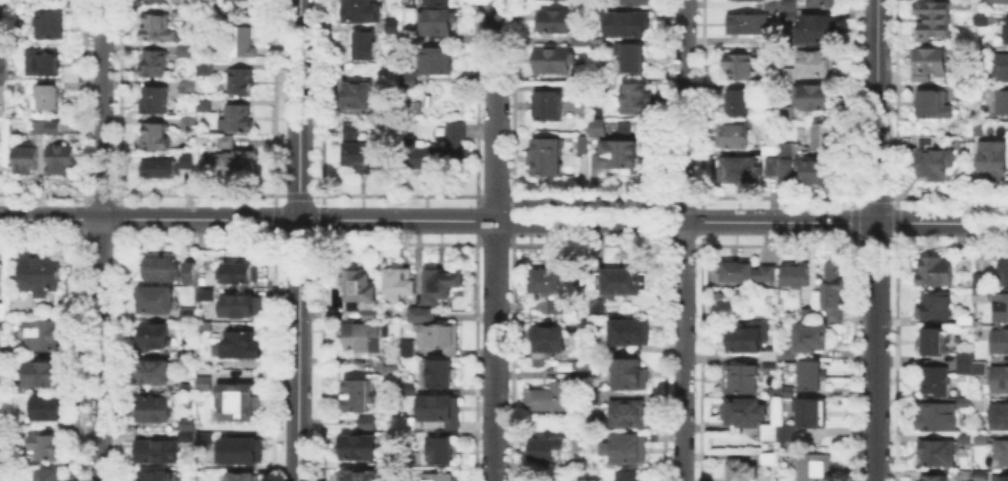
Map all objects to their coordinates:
building: (154, 0)
building: (235, 0)
building: (560, 0)
building: (754, 0)
building: (230, 1)
building: (996, 1)
building: (72, 2)
building: (637, 2)
building: (821, 2)
building: (443, 3)
building: (962, 3)
building: (770, 4)
building: (787, 4)
building: (72, 9)
building: (180, 10)
building: (364, 12)
building: (787, 15)
building: (978, 16)
building: (931, 17)
building: (49, 22)
building: (745, 22)
building: (439, 23)
building: (556, 23)
building: (392, 24)
building: (155, 25)
building: (629, 26)
building: (813, 28)
building: (3, 29)
building: (396, 29)
building: (1004, 30)
building: (768, 39)
building: (240, 40)
building: (368, 46)
building: (184, 49)
building: (768, 52)
building: (631, 59)
building: (42, 60)
building: (554, 60)
building: (152, 61)
building: (814, 61)
building: (928, 61)
building: (439, 62)
building: (999, 63)
building: (736, 64)
building: (3, 66)
building: (204, 67)
building: (784, 73)
building: (71, 74)
building: (240, 78)
building: (411, 82)
building: (70, 83)
building: (188, 84)
building: (755, 84)
building: (602, 85)
building: (963, 91)
building: (47, 95)
building: (813, 95)
building: (360, 97)
building: (153, 98)
building: (636, 100)
building: (736, 100)
building: (1001, 100)
building: (930, 102)
building: (202, 103)
building: (550, 108)
road: (297, 109)
building: (416, 110)
building: (784, 110)
building: (236, 117)
building: (188, 121)
building: (37, 125)
building: (51, 126)
building: (621, 127)
building: (602, 128)
building: (976, 128)
building: (352, 132)
building: (731, 134)
building: (821, 134)
building: (153, 135)
building: (37, 137)
building: (224, 138)
building: (581, 143)
building: (585, 147)
building: (768, 148)
building: (785, 148)
building: (439, 152)
building: (24, 155)
building: (59, 156)
building: (620, 156)
building: (364, 157)
building: (991, 157)
building: (930, 158)
building: (235, 159)
building: (549, 159)
building: (164, 164)
building: (769, 164)
building: (737, 168)
building: (784, 170)
building: (815, 170)
road: (148, 219)
road: (652, 220)
road: (103, 240)
road: (495, 240)
road: (684, 240)
road: (876, 240)
building: (966, 266)
building: (159, 270)
building: (1, 271)
building: (37, 271)
building: (936, 271)
building: (192, 273)
building: (751, 274)
building: (1006, 274)
building: (238, 275)
building: (797, 278)
building: (544, 279)
building: (620, 280)
building: (208, 281)
building: (396, 281)
building: (438, 282)
building: (982, 288)
building: (359, 290)
building: (833, 291)
building: (206, 296)
building: (156, 301)
building: (554, 304)
building: (596, 306)
building: (936, 306)
building: (2, 309)
building: (240, 309)
building: (1002, 309)
building: (418, 312)
building: (809, 316)
building: (189, 317)
building: (966, 320)
building: (207, 327)
building: (628, 330)
building: (41, 333)
building: (361, 334)
building: (437, 335)
building: (155, 337)
building: (545, 339)
building: (752, 339)
building: (812, 340)
building: (935, 343)
building: (1001, 343)
building: (406, 346)
building: (599, 346)
building: (240, 348)
building: (2, 349)
building: (13, 349)
road: (297, 350)
building: (191, 355)
building: (788, 355)
building: (391, 356)
building: (966, 359)
building: (1, 360)
building: (772, 361)
building: (563, 364)
building: (389, 367)
building: (579, 368)
building: (981, 368)
building: (43, 371)
building: (439, 371)
building: (629, 373)
building: (161, 375)
building: (813, 377)
building: (744, 380)
building: (1000, 380)
building: (937, 383)
building: (15, 386)
building: (407, 386)
building: (200, 389)
building: (356, 393)
building: (594, 394)
building: (790, 395)
building: (551, 396)
building: (966, 401)
building: (239, 405)
building: (47, 406)
building: (438, 408)
building: (627, 411)
building: (151, 412)
building: (746, 414)
building: (813, 414)
building: (937, 416)
building: (1000, 418)
building: (365, 420)
building: (406, 421)
building: (791, 433)
building: (18, 434)
building: (771, 436)
building: (203, 437)
building: (46, 444)
building: (355, 445)
building: (627, 445)
building: (545, 446)
building: (439, 449)
building: (244, 451)
building: (158, 453)
building: (938, 454)
building: (1002, 454)
building: (770, 460)
building: (390, 461)
building: (578, 462)
building: (815, 469)
building: (745, 472)
building: (47, 474)
building: (359, 474)
building: (628, 475)
building: (158, 476)
building: (438, 476)
building: (935, 478)
building: (241, 479)
building: (1001, 479)
building: (785, 480)

